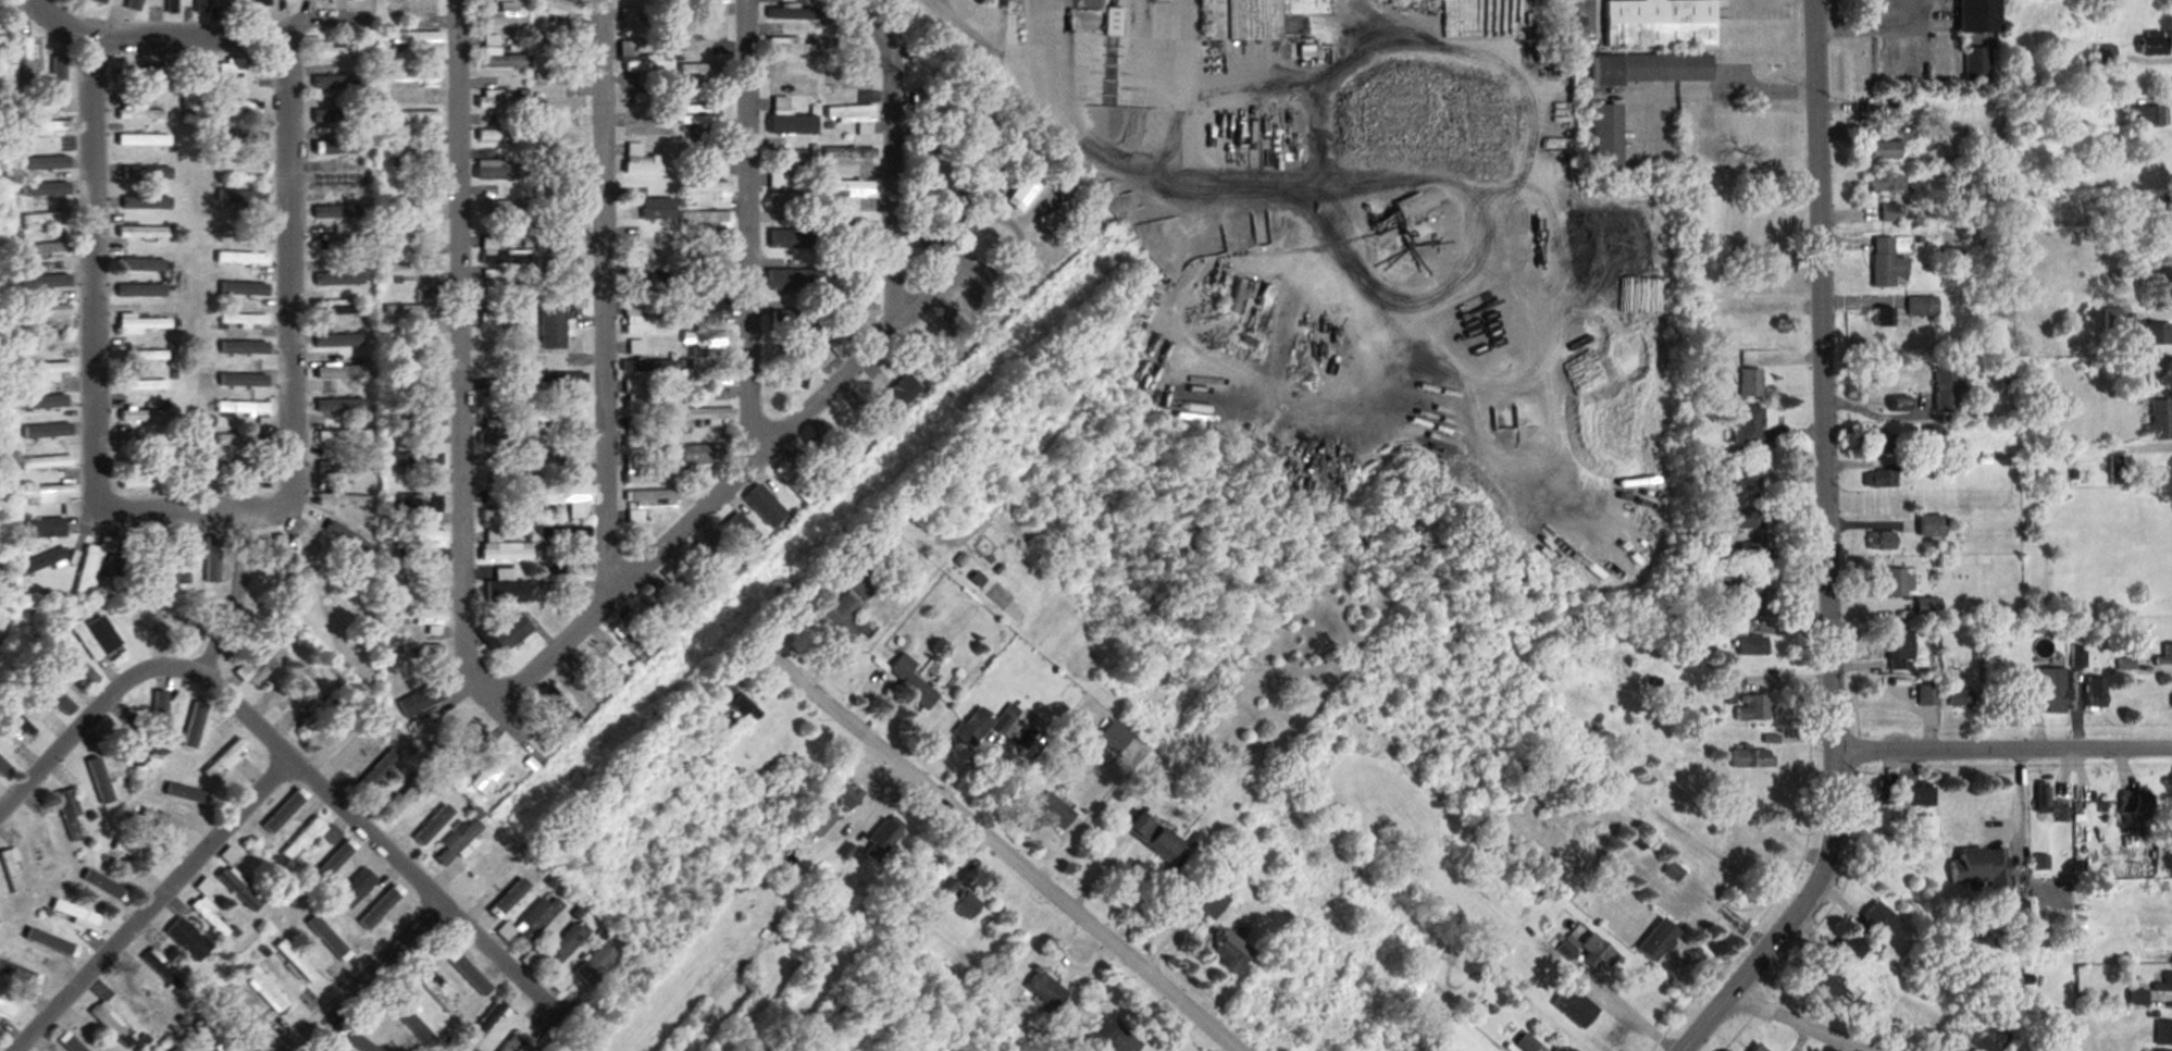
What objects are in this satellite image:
building: (98, 1)
building: (707, 1)
building: (266, 2)
building: (134, 3)
building: (202, 5)
building: (231, 5)
building: (174, 7)
building: (561, 9)
building: (506, 16)
building: (1975, 16)
building: (1241, 20)
building: (1112, 23)
building: (1658, 23)
building: (644, 26)
road: (1051, 26)
road: (250, 33)
building: (560, 37)
building: (422, 42)
building: (2151, 45)
building: (792, 47)
building: (338, 51)
building: (2103, 54)
building: (500, 55)
building: (29, 61)
building: (643, 61)
building: (1975, 64)
building: (241, 69)
building: (1649, 70)
building: (142, 75)
building: (559, 75)
building: (708, 77)
building: (415, 78)
building: (61, 79)
building: (854, 82)
building: (335, 84)
building: (191, 86)
road: (1749, 87)
building: (796, 88)
building: (655, 98)
building: (24, 99)
building: (504, 100)
road: (1644, 100)
building: (576, 102)
building: (246, 106)
building: (2107, 107)
building: (934, 109)
building: (144, 112)
building: (337, 112)
building: (1903, 114)
building: (699, 115)
building: (2148, 116)
building: (855, 118)
building: (414, 119)
building: (794, 124)
building: (46, 127)
building: (504, 135)
building: (240, 136)
building: (1602, 136)
building: (146, 140)
building: (338, 145)
building: (2146, 147)
road: (904, 149)
building: (1882, 149)
building: (852, 153)
building: (940, 154)
building: (568, 156)
building: (419, 158)
building: (709, 158)
building: (790, 160)
building: (45, 162)
building: (646, 163)
building: (498, 166)
building: (146, 169)
building: (246, 170)
building: (343, 175)
building: (779, 181)
building: (1885, 182)
building: (956, 185)
building: (1009, 185)
building: (42, 188)
building: (853, 188)
building: (1027, 191)
building: (709, 194)
building: (562, 196)
building: (423, 199)
building: (241, 200)
building: (794, 201)
building: (507, 208)
building: (334, 209)
building: (1888, 212)
building: (2150, 212)
building: (1062, 215)
building: (48, 220)
building: (707, 220)
building: (854, 226)
building: (138, 228)
building: (920, 228)
building: (234, 231)
building: (413, 232)
road: (758, 232)
building: (569, 233)
building: (339, 238)
building: (795, 240)
road: (106, 245)
building: (49, 248)
building: (502, 252)
building: (1885, 262)
road: (299, 263)
building: (562, 265)
building: (710, 265)
building: (340, 280)
building: (651, 282)
building: (53, 283)
building: (793, 283)
building: (504, 285)
building: (246, 290)
road: (609, 298)
building: (709, 304)
building: (1921, 306)
building: (339, 309)
building: (853, 310)
building: (975, 310)
building: (47, 312)
building: (1882, 316)
building: (504, 318)
building: (2112, 318)
building: (575, 320)
building: (245, 321)
building: (647, 322)
building: (145, 323)
building: (796, 326)
building: (2151, 334)
building: (342, 339)
building: (561, 342)
building: (712, 344)
building: (637, 348)
road: (471, 349)
building: (240, 350)
building: (423, 350)
building: (145, 355)
building: (508, 361)
building: (649, 366)
building: (800, 368)
building: (44, 372)
building: (344, 372)
building: (708, 378)
building: (244, 380)
building: (907, 380)
building: (1750, 383)
building: (418, 384)
building: (566, 384)
building: (146, 385)
building: (1721, 387)
building: (1945, 390)
building: (647, 397)
building: (881, 399)
building: (507, 401)
building: (856, 403)
building: (345, 405)
building: (1897, 405)
building: (244, 408)
building: (711, 416)
building: (147, 417)
building: (560, 418)
building: (2158, 420)
building: (419, 421)
building: (1745, 424)
building: (852, 431)
building: (45, 432)
building: (492, 434)
building: (647, 435)
building: (1933, 435)
building: (345, 436)
building: (245, 442)
building: (145, 443)
building: (1881, 444)
building: (560, 454)
building: (705, 459)
building: (822, 459)
building: (201, 461)
building: (47, 462)
road: (760, 462)
building: (246, 470)
building: (2115, 470)
building: (646, 472)
building: (1879, 478)
building: (144, 481)
building: (798, 481)
building: (51, 497)
building: (570, 497)
building: (345, 500)
building: (649, 503)
building: (421, 504)
road: (206, 507)
building: (1715, 508)
building: (502, 509)
building: (765, 510)
building: (1748, 518)
building: (1929, 525)
building: (46, 528)
building: (566, 532)
building: (347, 537)
building: (420, 539)
building: (1879, 541)
building: (505, 548)
road: (1829, 552)
building: (1750, 554)
building: (283, 558)
building: (47, 559)
building: (153, 559)
building: (212, 559)
building: (251, 562)
building: (716, 562)
building: (184, 565)
building: (90, 571)
building: (319, 573)
building: (569, 574)
building: (1897, 582)
building: (506, 588)
building: (685, 590)
building: (1753, 596)
building: (1926, 607)
building: (658, 615)
building: (423, 616)
building: (847, 617)
building: (196, 632)
building: (508, 635)
building: (231, 636)
building: (97, 639)
building: (632, 639)
building: (1750, 646)
building: (418, 651)
building: (1897, 651)
building: (2164, 655)
building: (77, 666)
building: (263, 666)
building: (609, 669)
building: (909, 681)
building: (1732, 688)
building: (575, 690)
building: (2050, 690)
building: (297, 691)
building: (1884, 692)
building: (2094, 693)
building: (1927, 694)
building: (49, 696)
building: (1959, 697)
building: (422, 698)
building: (743, 705)
building: (562, 708)
building: (1751, 708)
building: (319, 713)
building: (21, 724)
building: (990, 725)
building: (198, 728)
road: (92, 729)
building: (1112, 737)
building: (543, 742)
road: (2003, 746)
building: (133, 749)
building: (1749, 758)
building: (378, 768)
building: (102, 779)
building: (1879, 793)
building: (407, 794)
building: (848, 794)
building: (1920, 795)
building: (2047, 804)
building: (2132, 808)
building: (1052, 809)
road: (2021, 814)
building: (71, 816)
building: (822, 820)
building: (890, 832)
building: (1150, 836)
building: (306, 838)
building: (457, 841)
building: (41, 845)
road: (384, 845)
road: (997, 849)
building: (2101, 850)
building: (134, 854)
building: (231, 855)
building: (1977, 867)
building: (13, 870)
building: (102, 885)
building: (239, 889)
building: (958, 897)
building: (508, 898)
building: (1206, 899)
building: (2161, 899)
building: (208, 908)
road: (163, 911)
building: (380, 911)
building: (2013, 911)
building: (78, 914)
building: (538, 918)
building: (1874, 920)
building: (189, 939)
building: (1655, 941)
building: (47, 944)
building: (566, 945)
building: (1847, 948)
building: (1226, 950)
building: (1593, 952)
building: (298, 961)
building: (596, 965)
building: (162, 969)
building: (468, 969)
road: (367, 977)
building: (1827, 980)
building: (2163, 984)
building: (266, 989)
building: (1047, 989)
building: (436, 993)
building: (138, 998)
building: (519, 1005)
building: (1573, 1006)
building: (5, 1010)
building: (239, 1016)
building: (489, 1018)
road: (1634, 1018)
road: (1803, 1019)
building: (112, 1026)
building: (2162, 1034)
building: (1119, 1036)
building: (210, 1037)
building: (1986, 1040)
building: (79, 1041)
building: (336, 1042)
building: (516, 1044)
building: (1754, 1048)
building: (177, 1049)
building: (1571, 1050)

